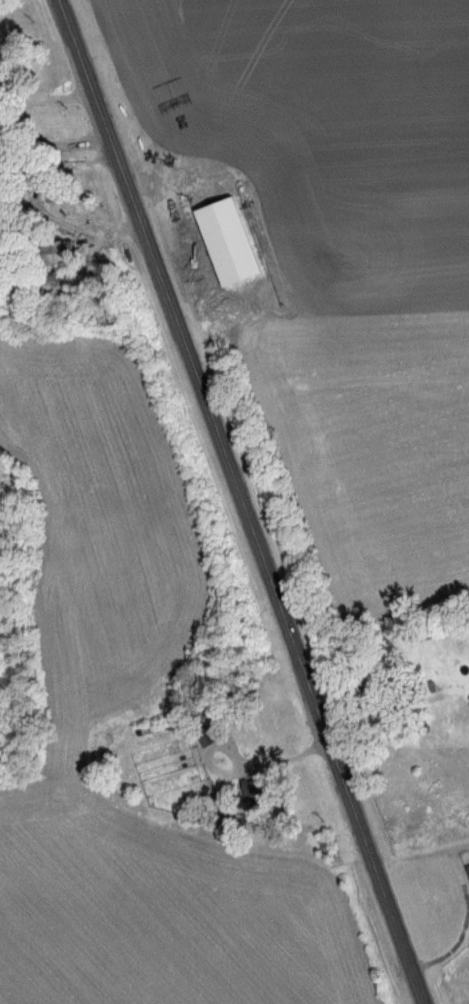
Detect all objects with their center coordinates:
road: (48, 106)
road: (242, 501)
road: (421, 854)
building: (466, 872)

